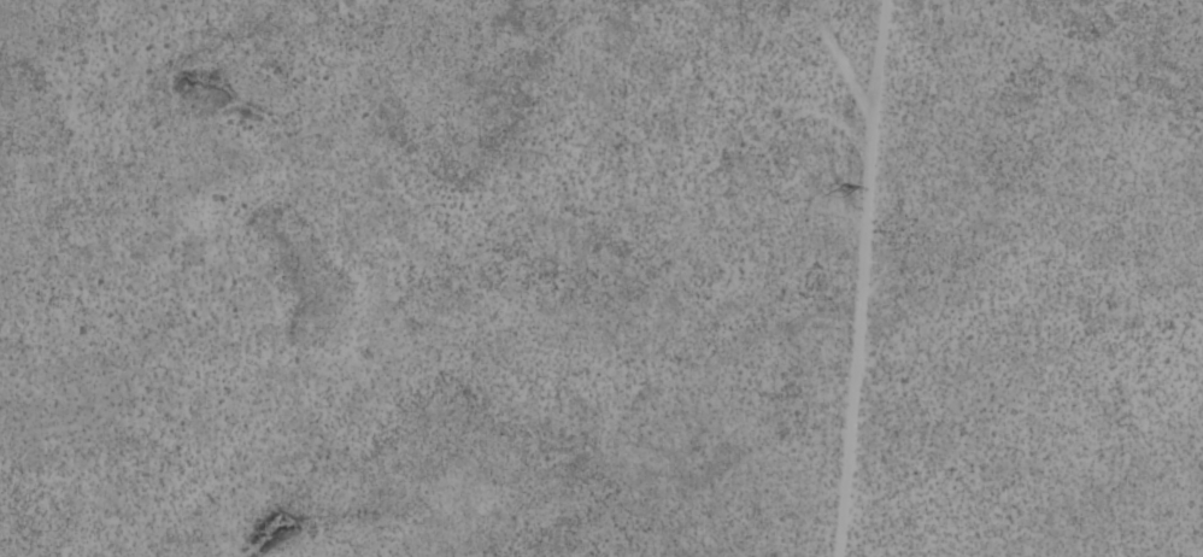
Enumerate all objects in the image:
power tower: (844, 200)
road: (929, 278)

